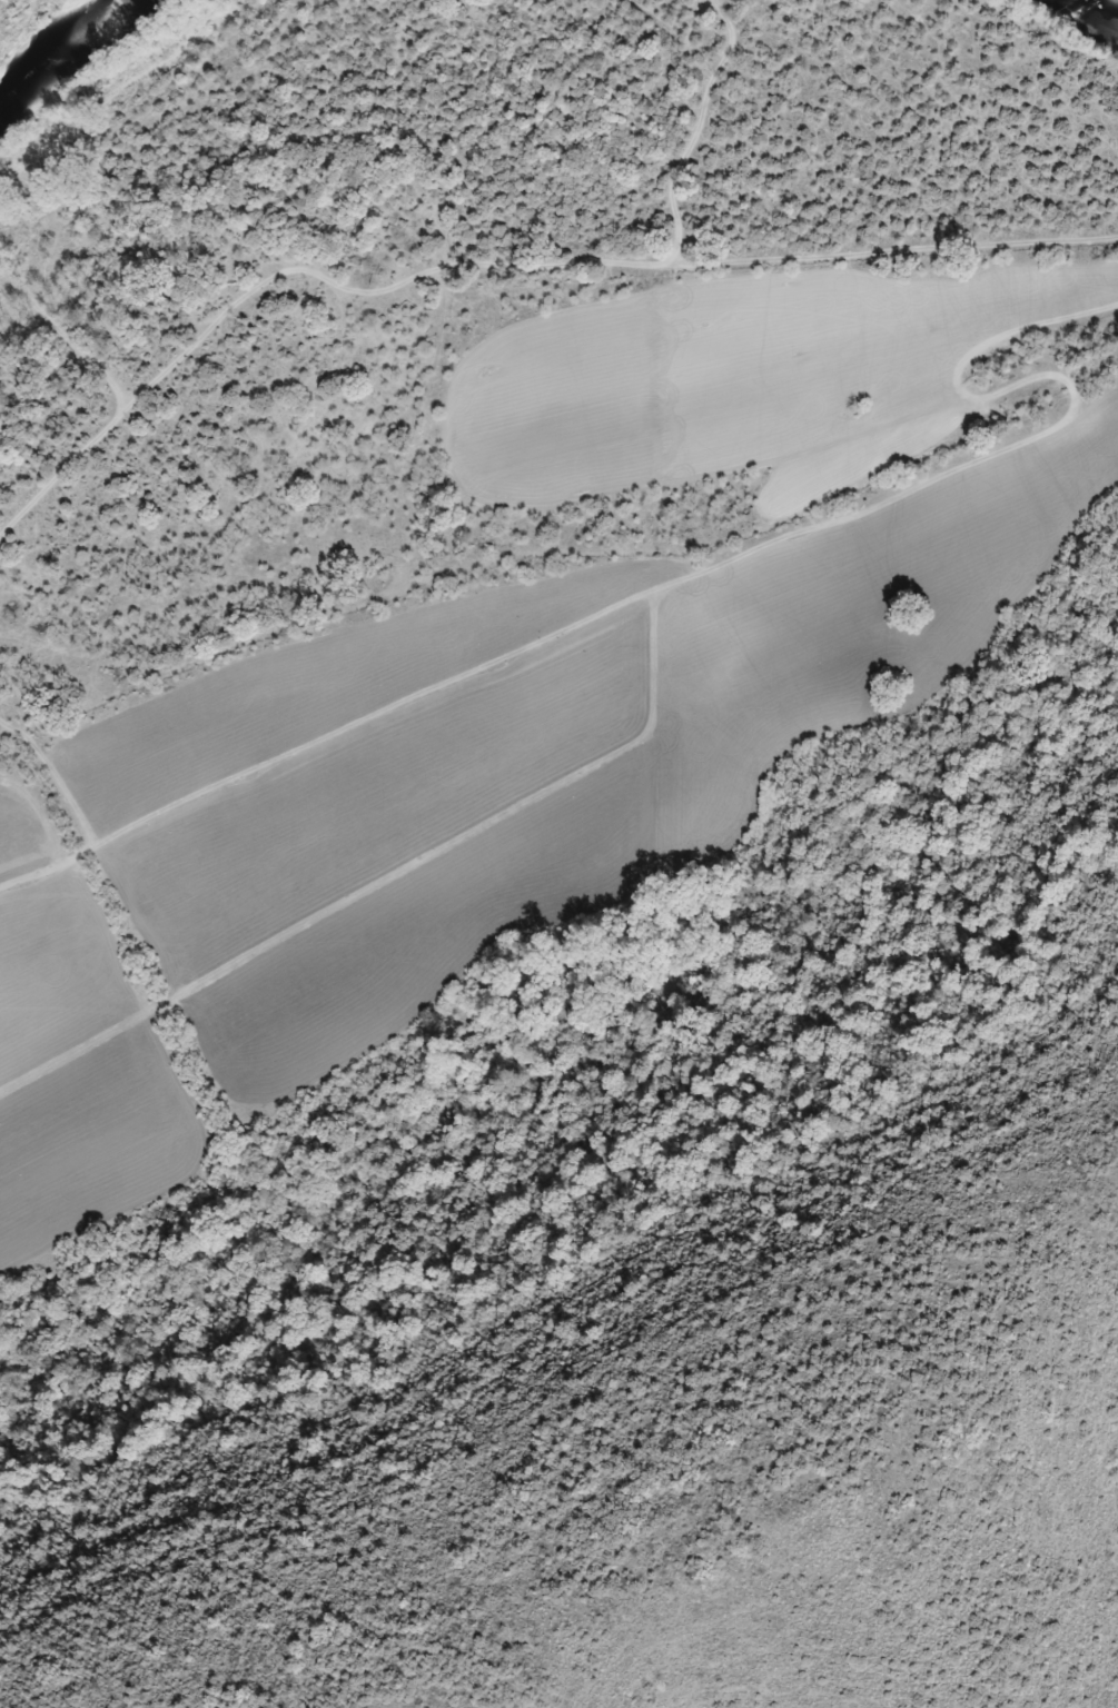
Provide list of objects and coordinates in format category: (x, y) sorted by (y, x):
river: (1099, 6)
building: (1, 9)
river: (68, 54)
road: (141, 403)

